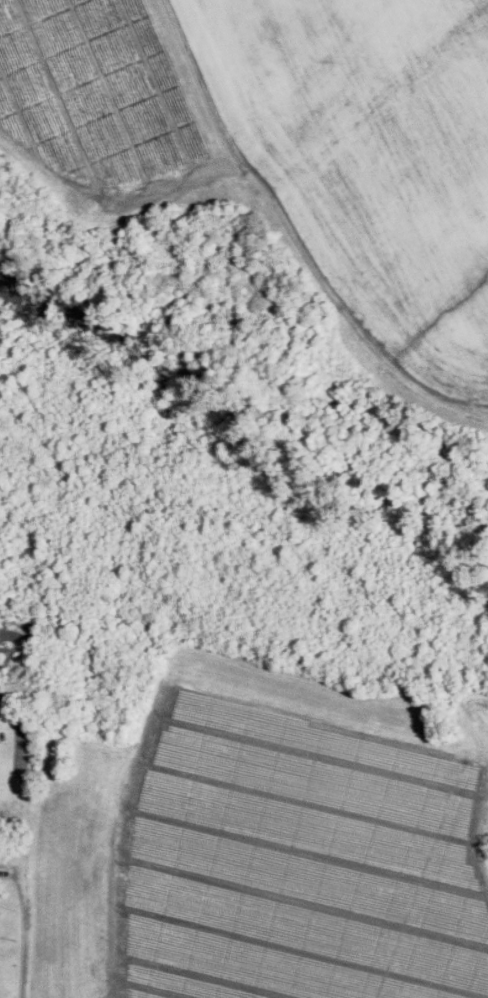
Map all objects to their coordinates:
road: (23, 937)

